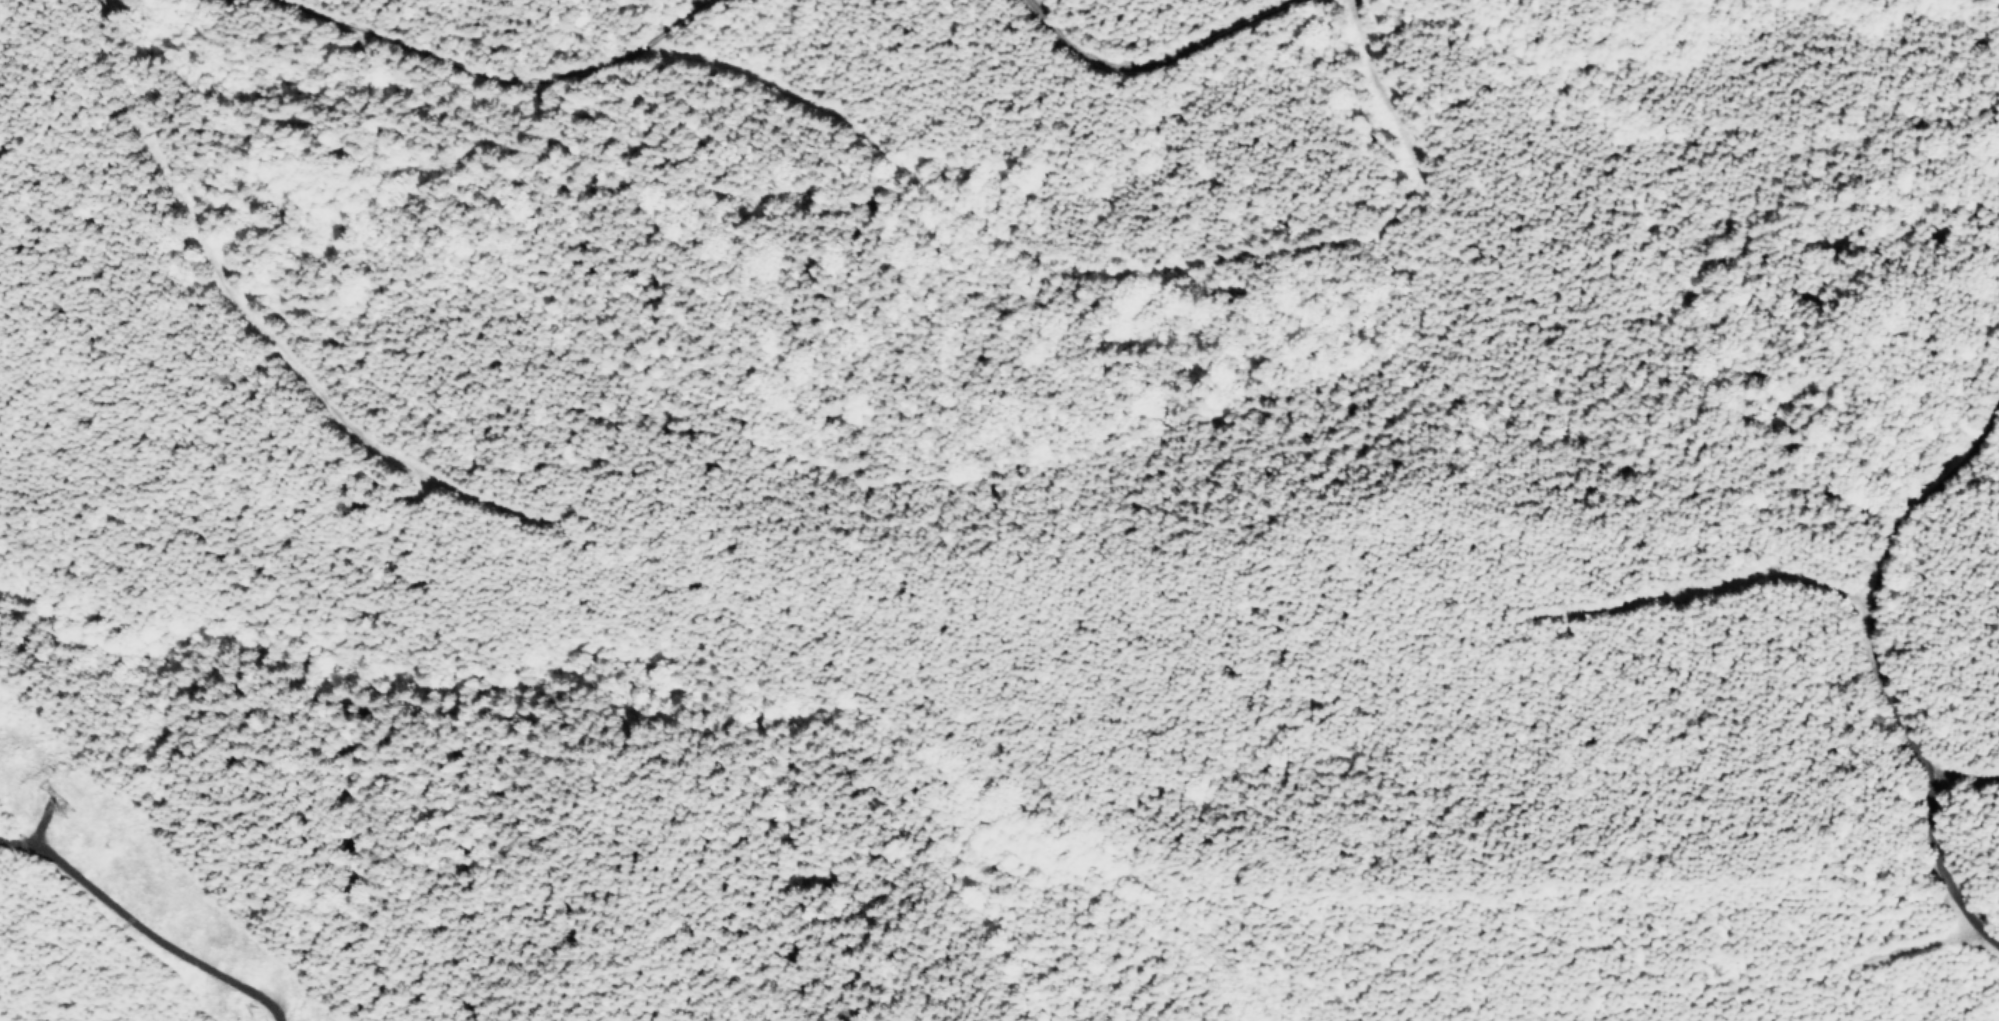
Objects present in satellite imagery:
power tower: (55, 800)

